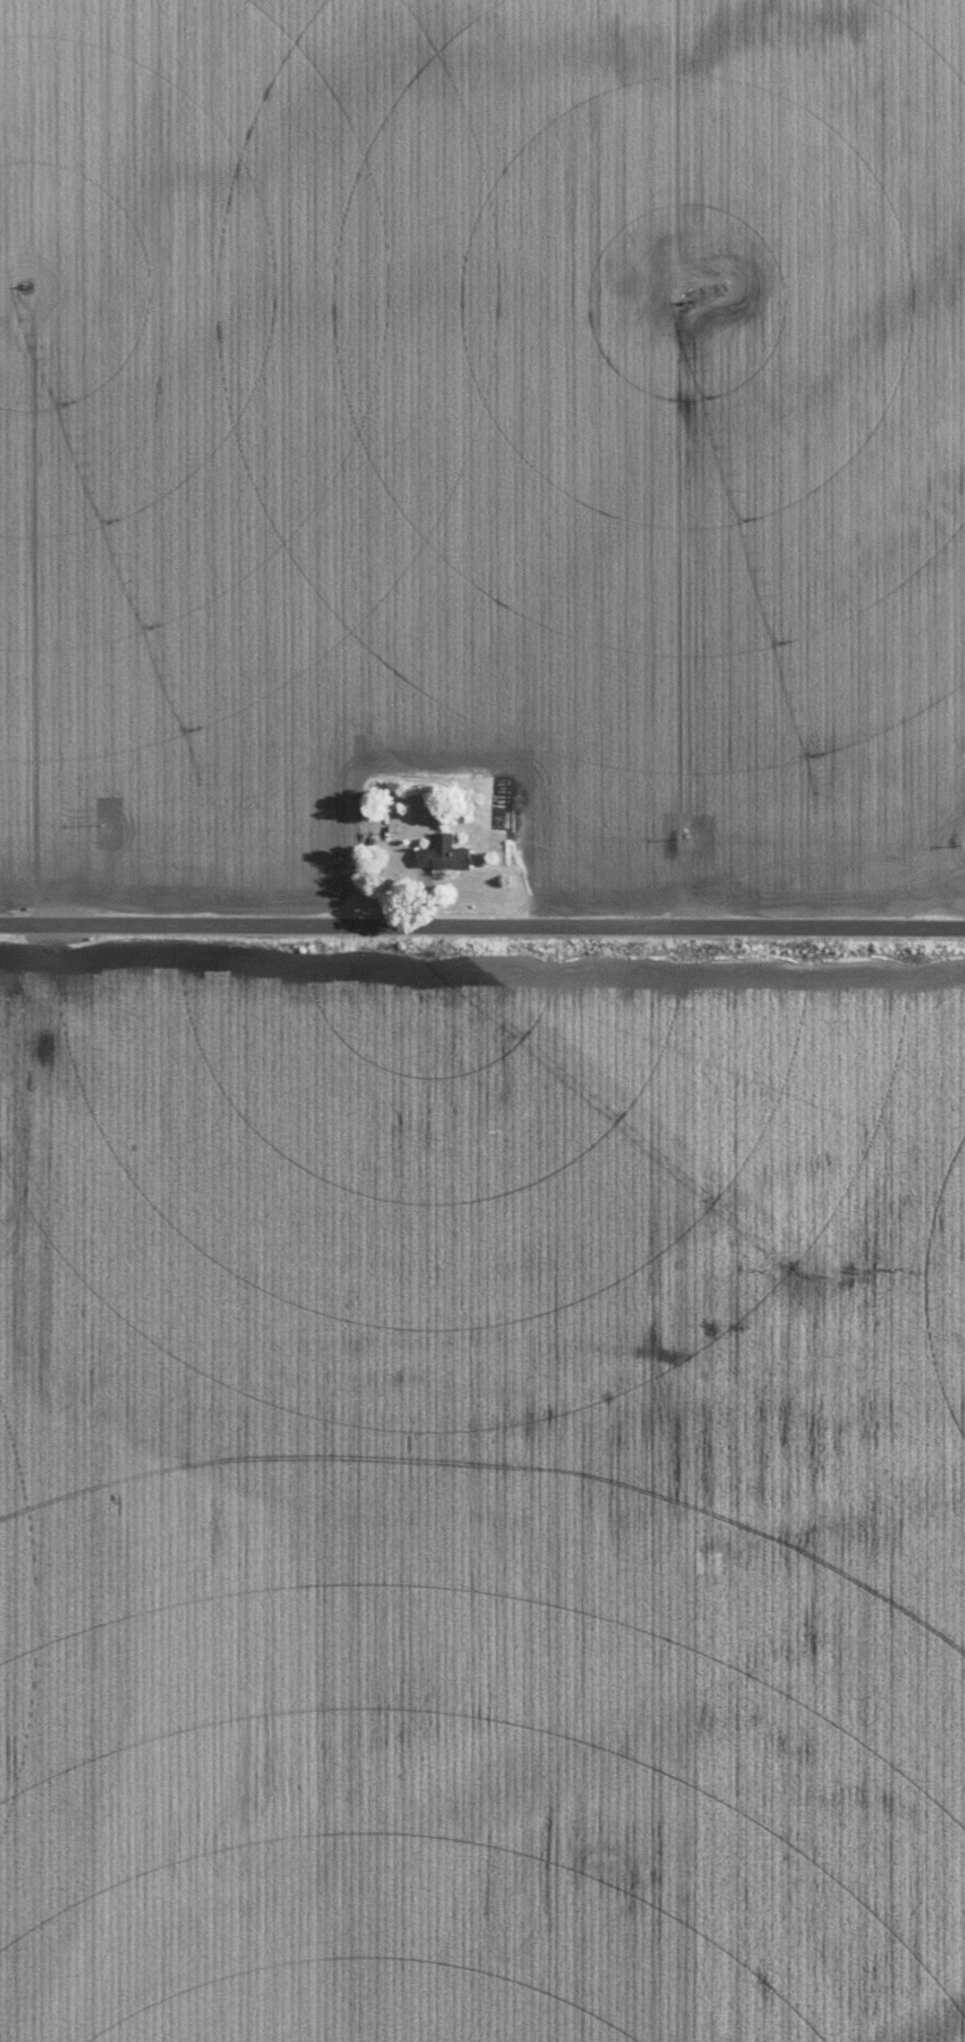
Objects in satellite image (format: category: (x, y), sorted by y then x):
crop: (479, 438)
building: (444, 852)
road: (482, 927)
crop: (480, 1510)

